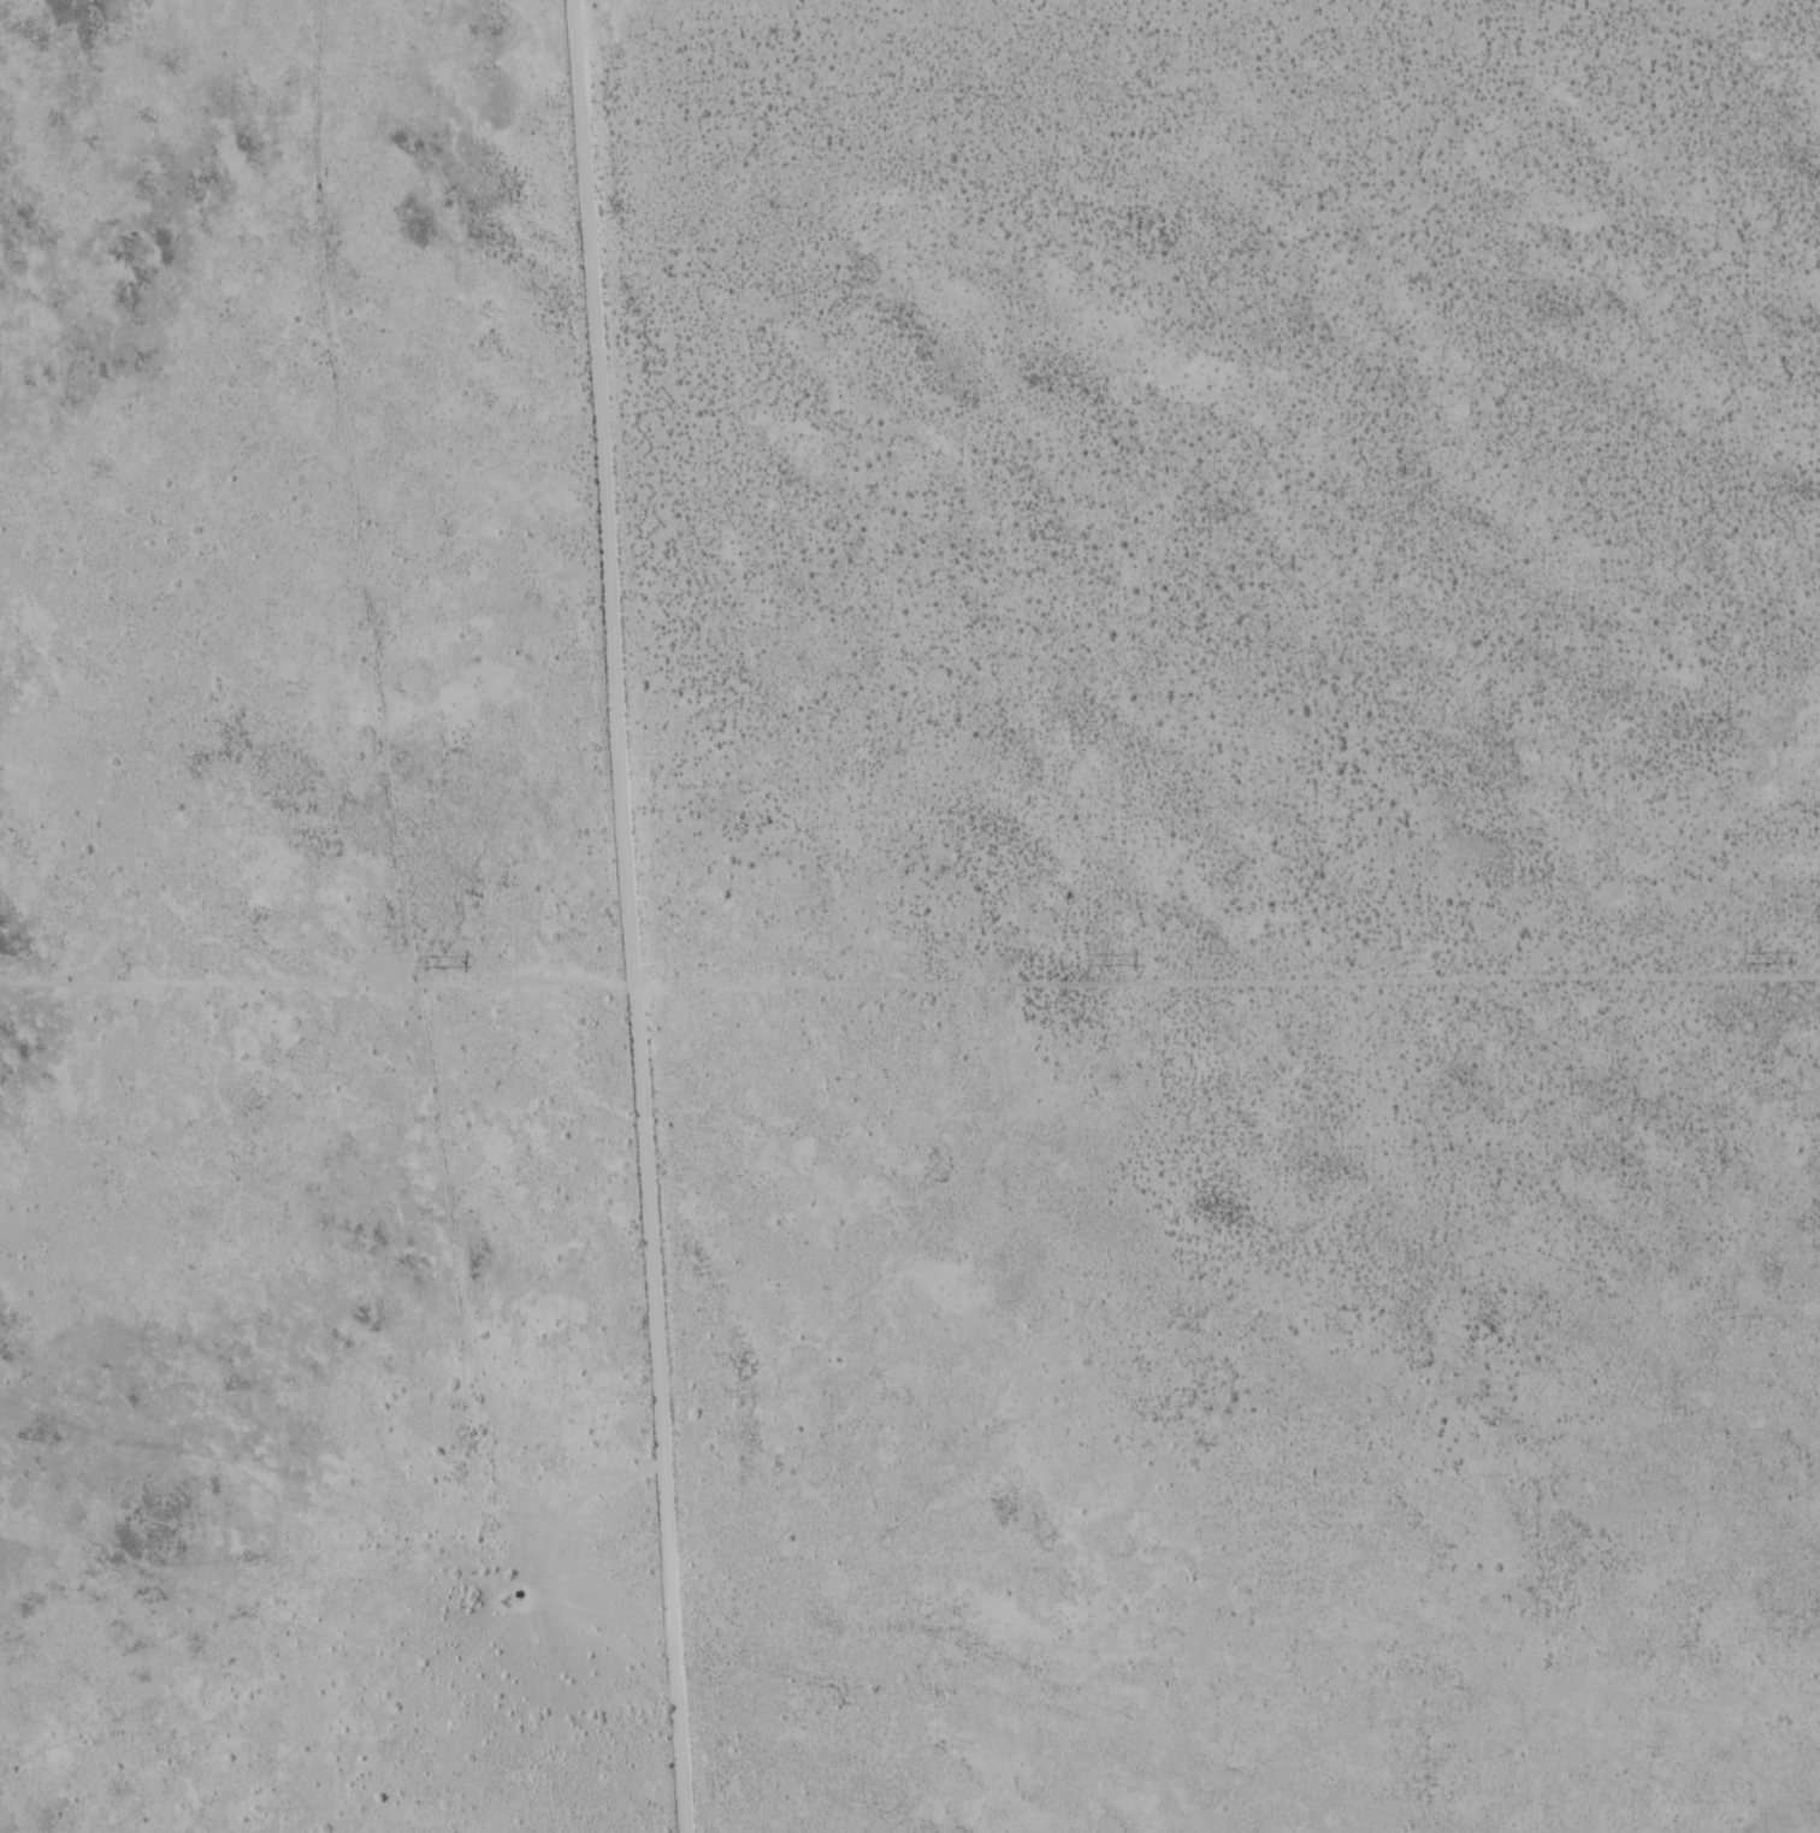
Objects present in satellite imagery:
road: (620, 917)
power tower: (1091, 956)
power tower: (1744, 956)
power tower: (421, 960)
road: (909, 978)

